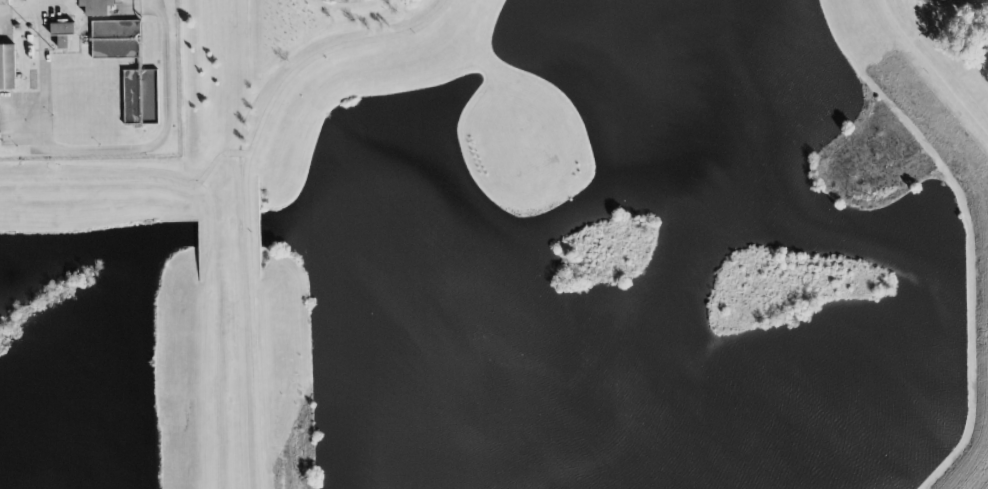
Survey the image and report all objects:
building: (97, 7)
building: (63, 33)
building: (7, 67)
building: (150, 82)
road: (101, 148)

